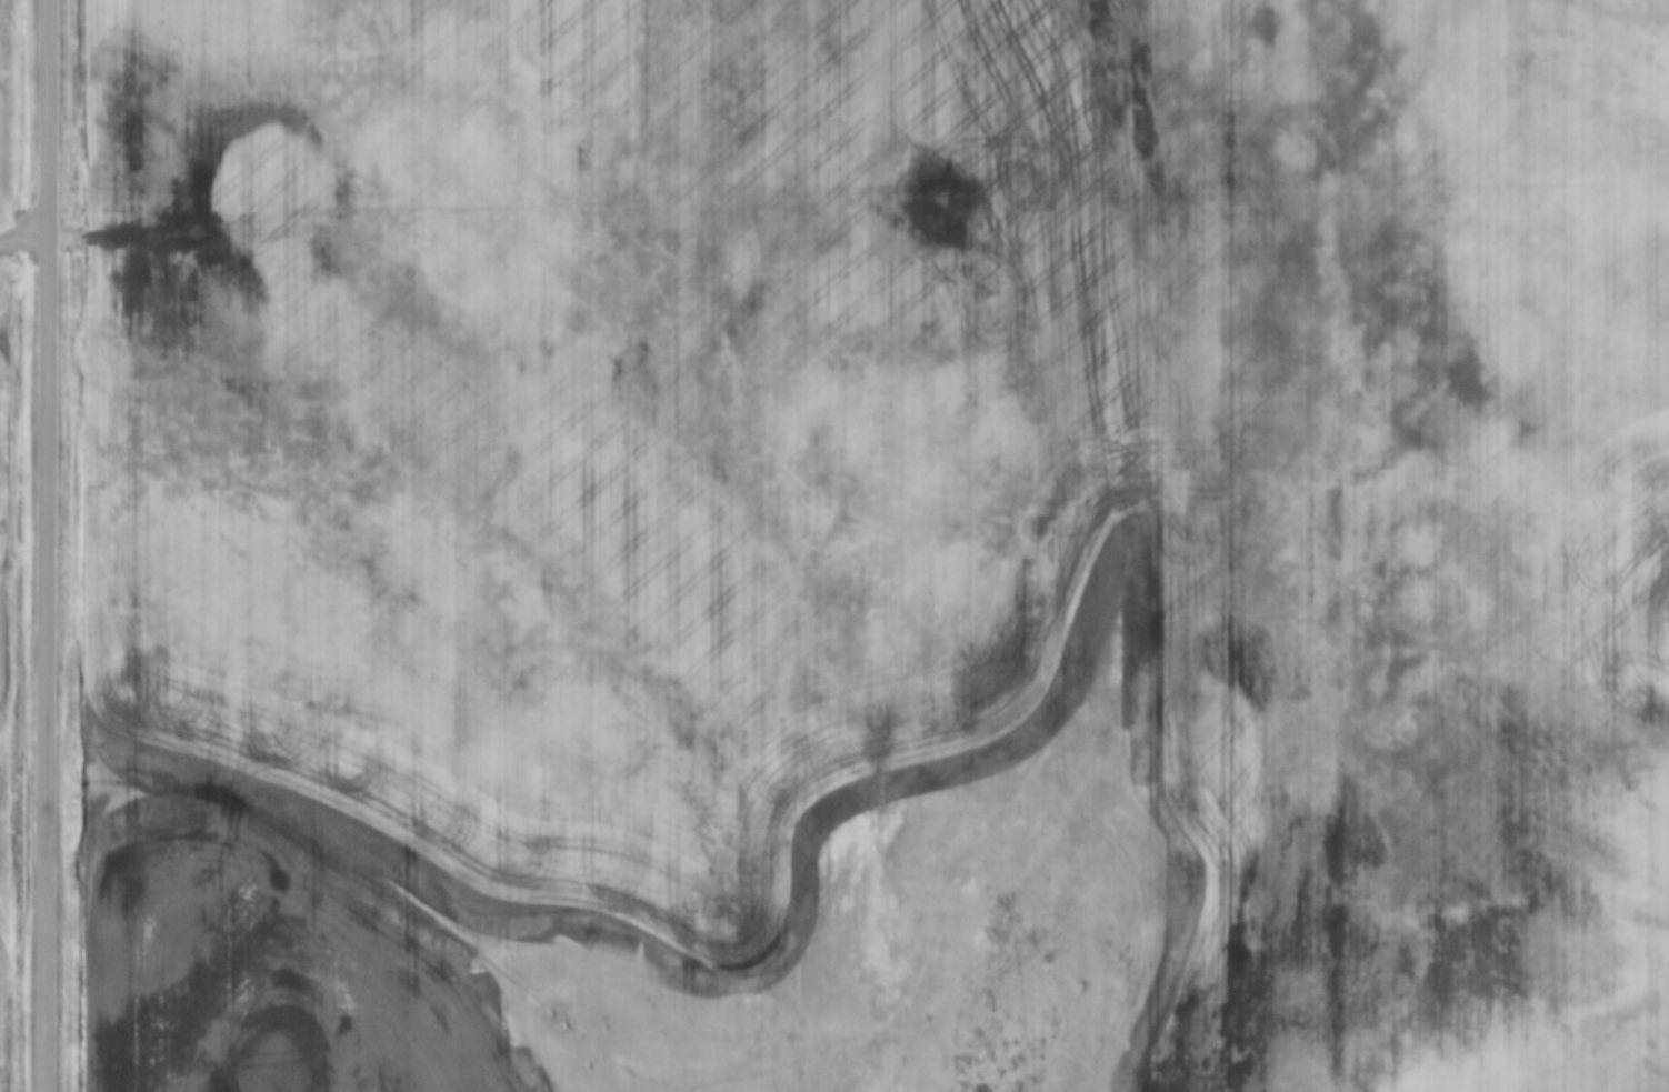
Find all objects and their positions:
road: (24, 222)
road: (46, 545)

